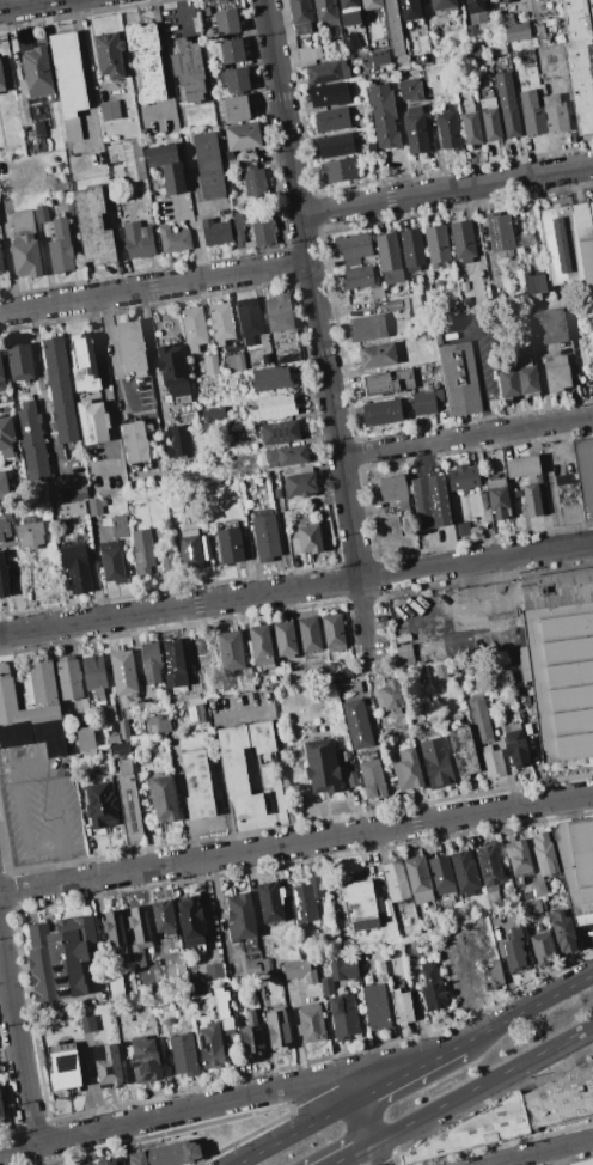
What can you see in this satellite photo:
building: (502, 0)
building: (404, 1)
road: (27, 4)
building: (371, 4)
building: (442, 4)
building: (475, 6)
building: (349, 7)
building: (300, 11)
building: (326, 12)
road: (181, 16)
building: (509, 19)
building: (577, 19)
building: (218, 22)
building: (395, 28)
building: (302, 30)
building: (471, 30)
building: (516, 31)
building: (420, 32)
building: (348, 47)
building: (231, 50)
building: (475, 51)
building: (109, 54)
building: (306, 54)
building: (380, 57)
building: (423, 59)
building: (146, 61)
building: (501, 61)
building: (189, 68)
road: (164, 69)
building: (37, 72)
building: (326, 72)
road: (84, 74)
building: (1, 75)
building: (236, 80)
building: (68, 81)
building: (580, 83)
building: (410, 90)
building: (329, 93)
building: (507, 104)
building: (236, 108)
building: (109, 110)
building: (532, 112)
building: (555, 114)
building: (384, 116)
building: (332, 118)
building: (490, 118)
building: (470, 123)
building: (39, 129)
building: (447, 129)
building: (415, 130)
building: (243, 135)
building: (335, 145)
building: (371, 147)
building: (115, 153)
building: (160, 154)
building: (227, 157)
building: (133, 160)
building: (209, 164)
building: (230, 165)
building: (340, 170)
building: (175, 178)
building: (255, 183)
road: (447, 189)
building: (42, 214)
building: (93, 226)
building: (253, 228)
building: (499, 231)
building: (215, 232)
road: (191, 234)
building: (139, 236)
building: (173, 239)
building: (461, 239)
building: (526, 239)
building: (436, 244)
building: (24, 245)
building: (560, 245)
building: (353, 246)
building: (60, 248)
building: (411, 249)
building: (586, 256)
building: (389, 257)
building: (1, 263)
building: (357, 277)
building: (438, 283)
road: (154, 286)
building: (534, 286)
road: (314, 288)
building: (377, 292)
building: (397, 304)
building: (279, 312)
building: (249, 319)
building: (221, 322)
building: (549, 324)
building: (194, 328)
building: (367, 328)
building: (132, 348)
road: (111, 355)
building: (377, 355)
building: (19, 361)
building: (210, 361)
building: (236, 362)
building: (84, 364)
building: (202, 368)
road: (477, 368)
building: (556, 372)
building: (173, 373)
building: (526, 376)
building: (270, 378)
building: (459, 378)
building: (1, 379)
building: (389, 382)
building: (508, 383)
road: (104, 385)
building: (61, 389)
building: (426, 401)
building: (274, 407)
building: (381, 411)
building: (187, 413)
building: (213, 414)
building: (92, 422)
building: (279, 432)
building: (6, 437)
road: (466, 437)
building: (31, 440)
building: (177, 441)
building: (135, 443)
building: (286, 456)
building: (524, 465)
building: (585, 472)
building: (463, 476)
building: (300, 484)
building: (4, 486)
building: (395, 488)
building: (244, 489)
building: (567, 489)
building: (78, 493)
building: (277, 493)
building: (499, 498)
building: (532, 500)
building: (430, 501)
building: (94, 507)
building: (66, 508)
building: (118, 526)
building: (4, 529)
building: (463, 529)
building: (30, 532)
building: (263, 537)
building: (308, 538)
building: (230, 545)
building: (190, 548)
building: (143, 551)
building: (111, 561)
road: (477, 561)
building: (75, 568)
building: (2, 577)
road: (471, 598)
road: (181, 608)
road: (369, 620)
building: (334, 633)
building: (308, 634)
building: (286, 641)
building: (261, 646)
building: (231, 652)
building: (561, 660)
building: (151, 663)
building: (173, 663)
building: (440, 670)
building: (123, 672)
building: (93, 673)
building: (298, 676)
building: (69, 678)
building: (246, 683)
building: (392, 694)
building: (30, 707)
building: (196, 713)
road: (240, 714)
building: (479, 719)
building: (356, 722)
building: (157, 724)
building: (123, 730)
building: (86, 740)
building: (120, 749)
building: (515, 749)
building: (463, 751)
road: (534, 755)
building: (436, 762)
road: (12, 763)
building: (244, 763)
building: (493, 763)
building: (322, 766)
building: (408, 769)
building: (372, 779)
building: (197, 786)
building: (164, 798)
building: (129, 804)
parking lot: (38, 805)
building: (100, 805)
road: (295, 841)
building: (544, 854)
building: (518, 856)
building: (576, 866)
road: (65, 867)
building: (464, 872)
building: (490, 873)
building: (441, 874)
building: (396, 879)
building: (418, 880)
building: (536, 890)
building: (306, 899)
road: (216, 902)
building: (270, 902)
building: (361, 905)
building: (386, 908)
building: (530, 908)
building: (164, 916)
building: (240, 917)
building: (190, 920)
building: (115, 931)
building: (563, 932)
building: (389, 933)
building: (139, 935)
building: (514, 949)
building: (542, 949)
building: (59, 958)
building: (267, 965)
building: (379, 966)
building: (253, 969)
building: (295, 969)
building: (344, 969)
building: (214, 972)
building: (491, 972)
building: (326, 986)
building: (433, 987)
road: (5, 995)
building: (377, 1006)
building: (402, 1006)
building: (222, 1007)
road: (527, 1010)
building: (343, 1017)
building: (311, 1023)
building: (279, 1029)
road: (295, 1033)
building: (252, 1035)
road: (17, 1042)
building: (210, 1043)
building: (184, 1055)
building: (145, 1061)
building: (108, 1065)
building: (65, 1068)
road: (409, 1073)
road: (483, 1082)
building: (561, 1098)
building: (1, 1110)
road: (179, 1111)
road: (365, 1122)
building: (473, 1132)
road: (296, 1133)
road: (353, 1153)
road: (378, 1153)
road: (540, 1153)
building: (167, 1154)
road: (554, 1158)
building: (106, 1161)
building: (583, 1163)
building: (86, 1164)

